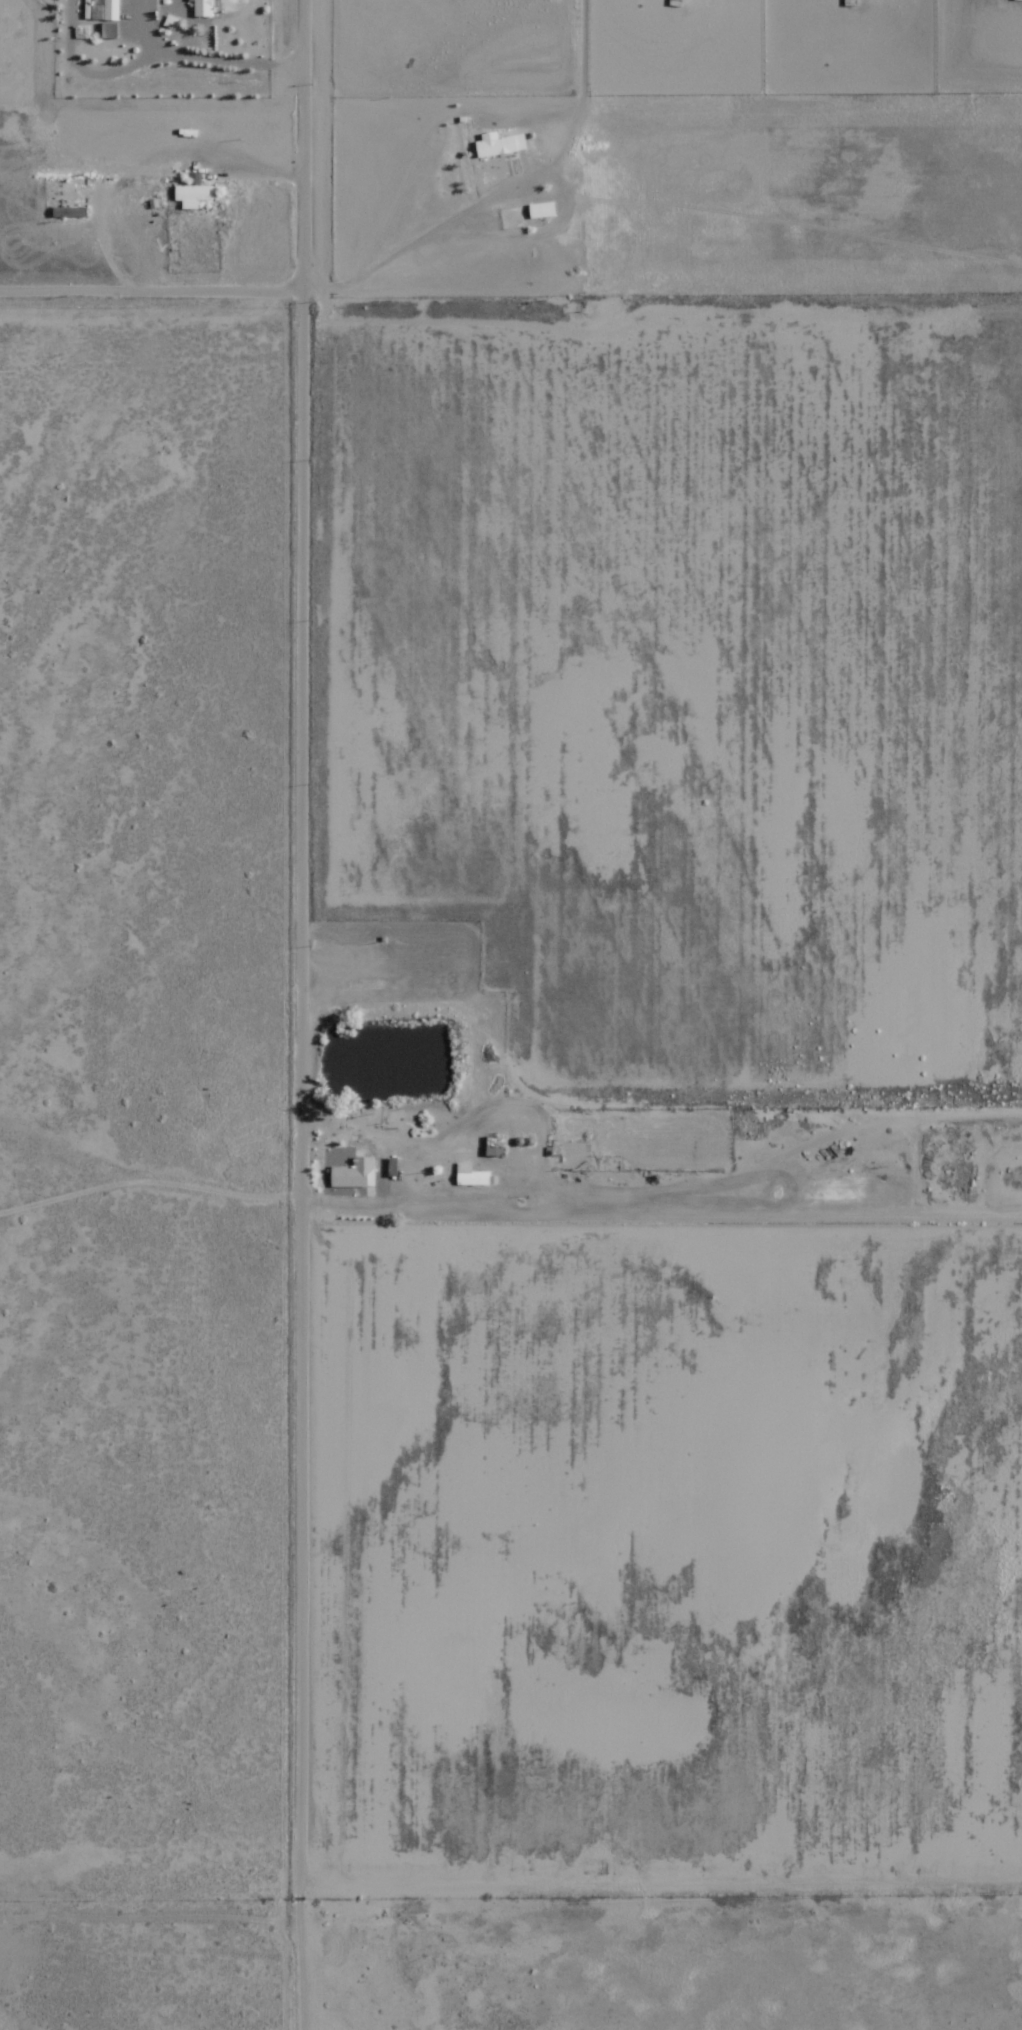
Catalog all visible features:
building: (105, 10)
building: (501, 144)
building: (196, 195)
building: (543, 210)
building: (70, 212)
road: (274, 1014)
building: (356, 1173)
road: (612, 1201)

